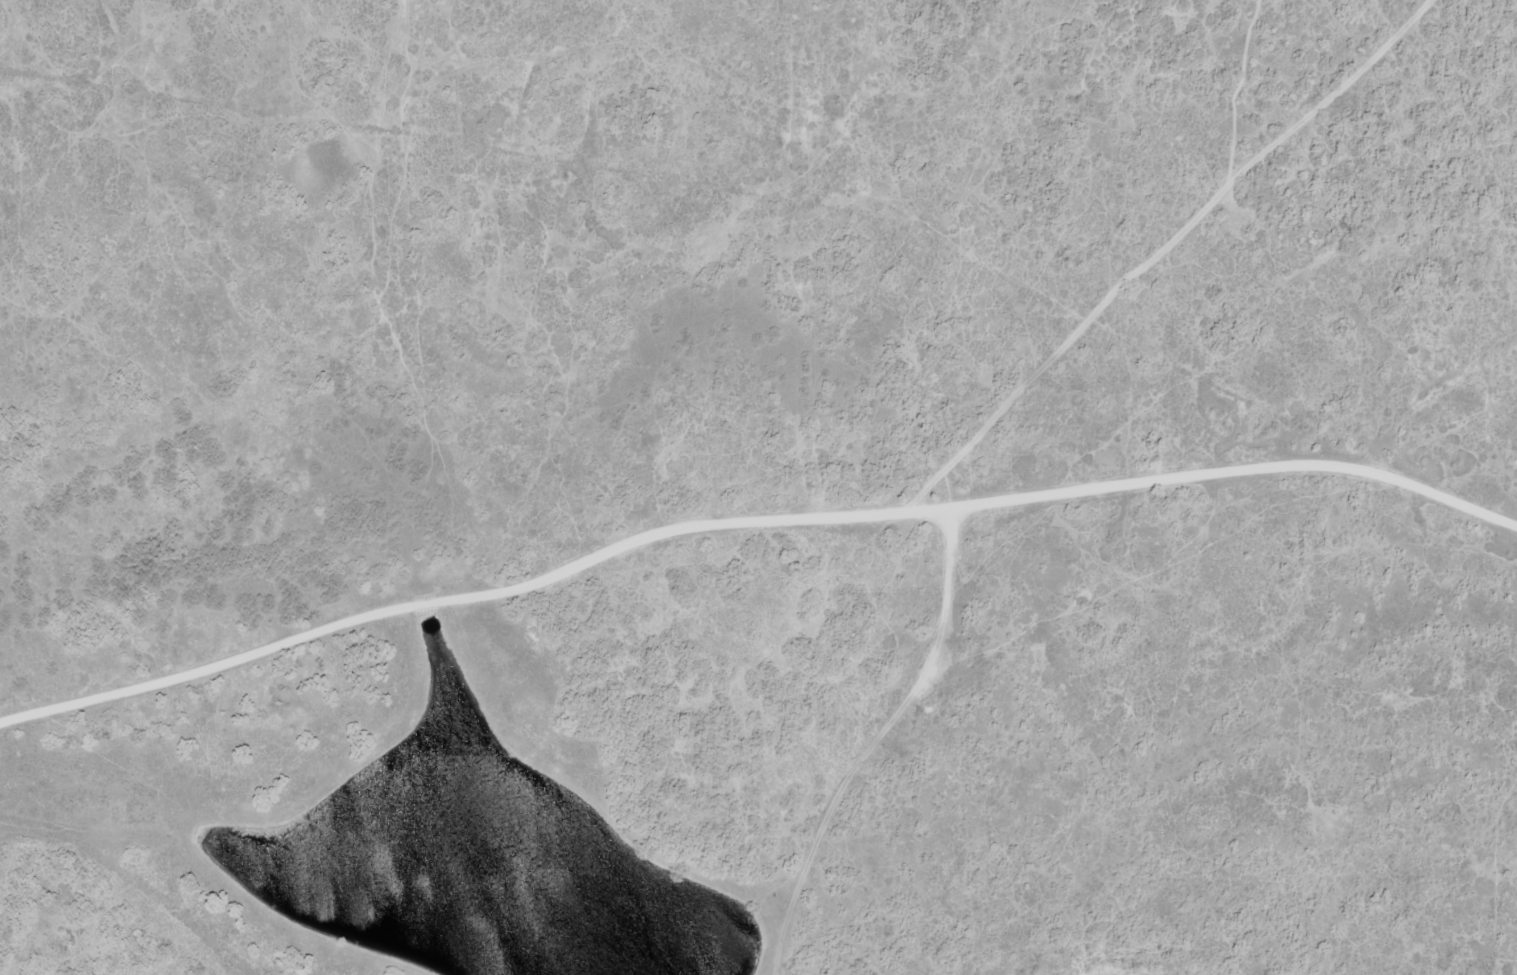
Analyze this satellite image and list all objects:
road: (1185, 246)
road: (745, 523)

